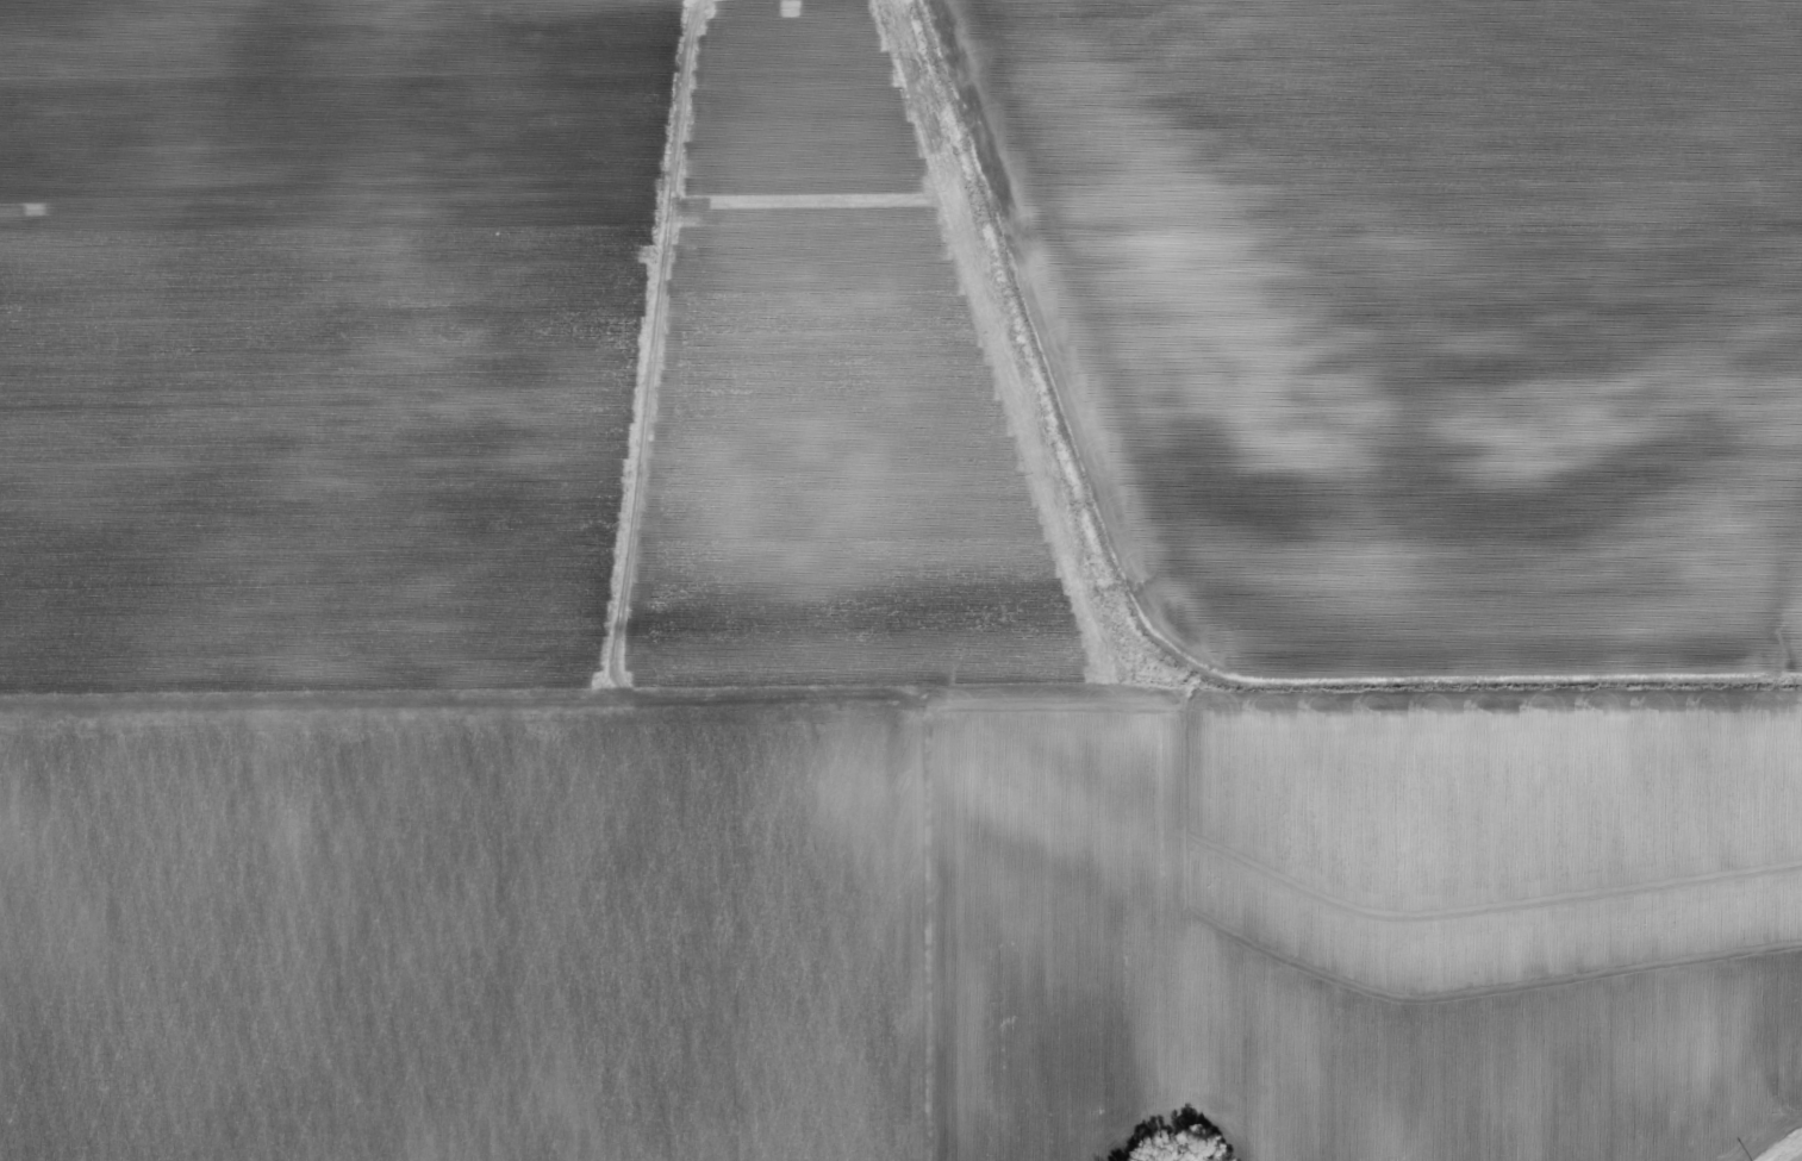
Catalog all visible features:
road: (1797, 1157)

